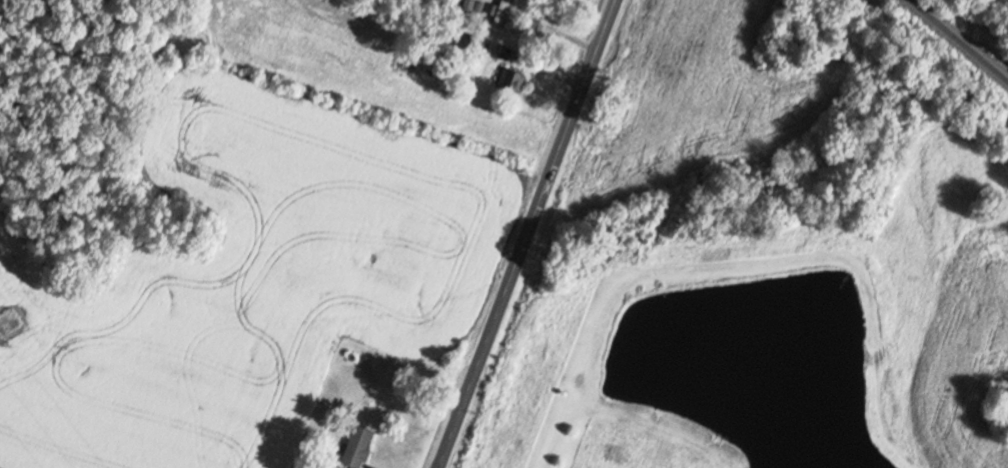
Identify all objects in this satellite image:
building: (501, 13)
railway: (960, 40)
building: (512, 81)
road: (526, 234)
power tower: (8, 322)
building: (358, 447)

